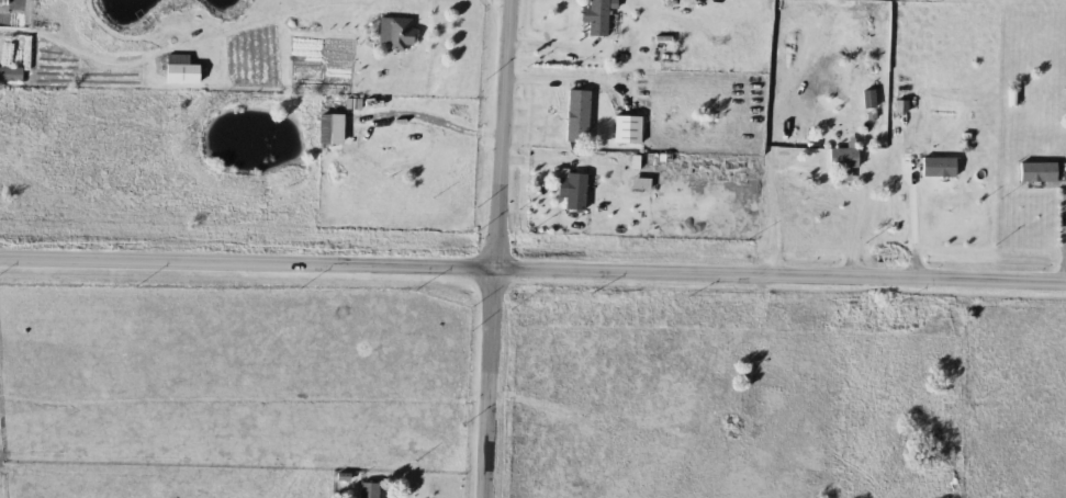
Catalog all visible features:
road: (406, 0)
building: (595, 19)
building: (393, 33)
road: (557, 45)
building: (661, 53)
building: (9, 73)
building: (178, 73)
building: (574, 116)
building: (625, 129)
road: (775, 134)
road: (496, 139)
building: (840, 158)
building: (934, 168)
building: (1034, 172)
road: (857, 229)
road: (914, 230)
road: (532, 280)
road: (483, 388)
building: (366, 490)

